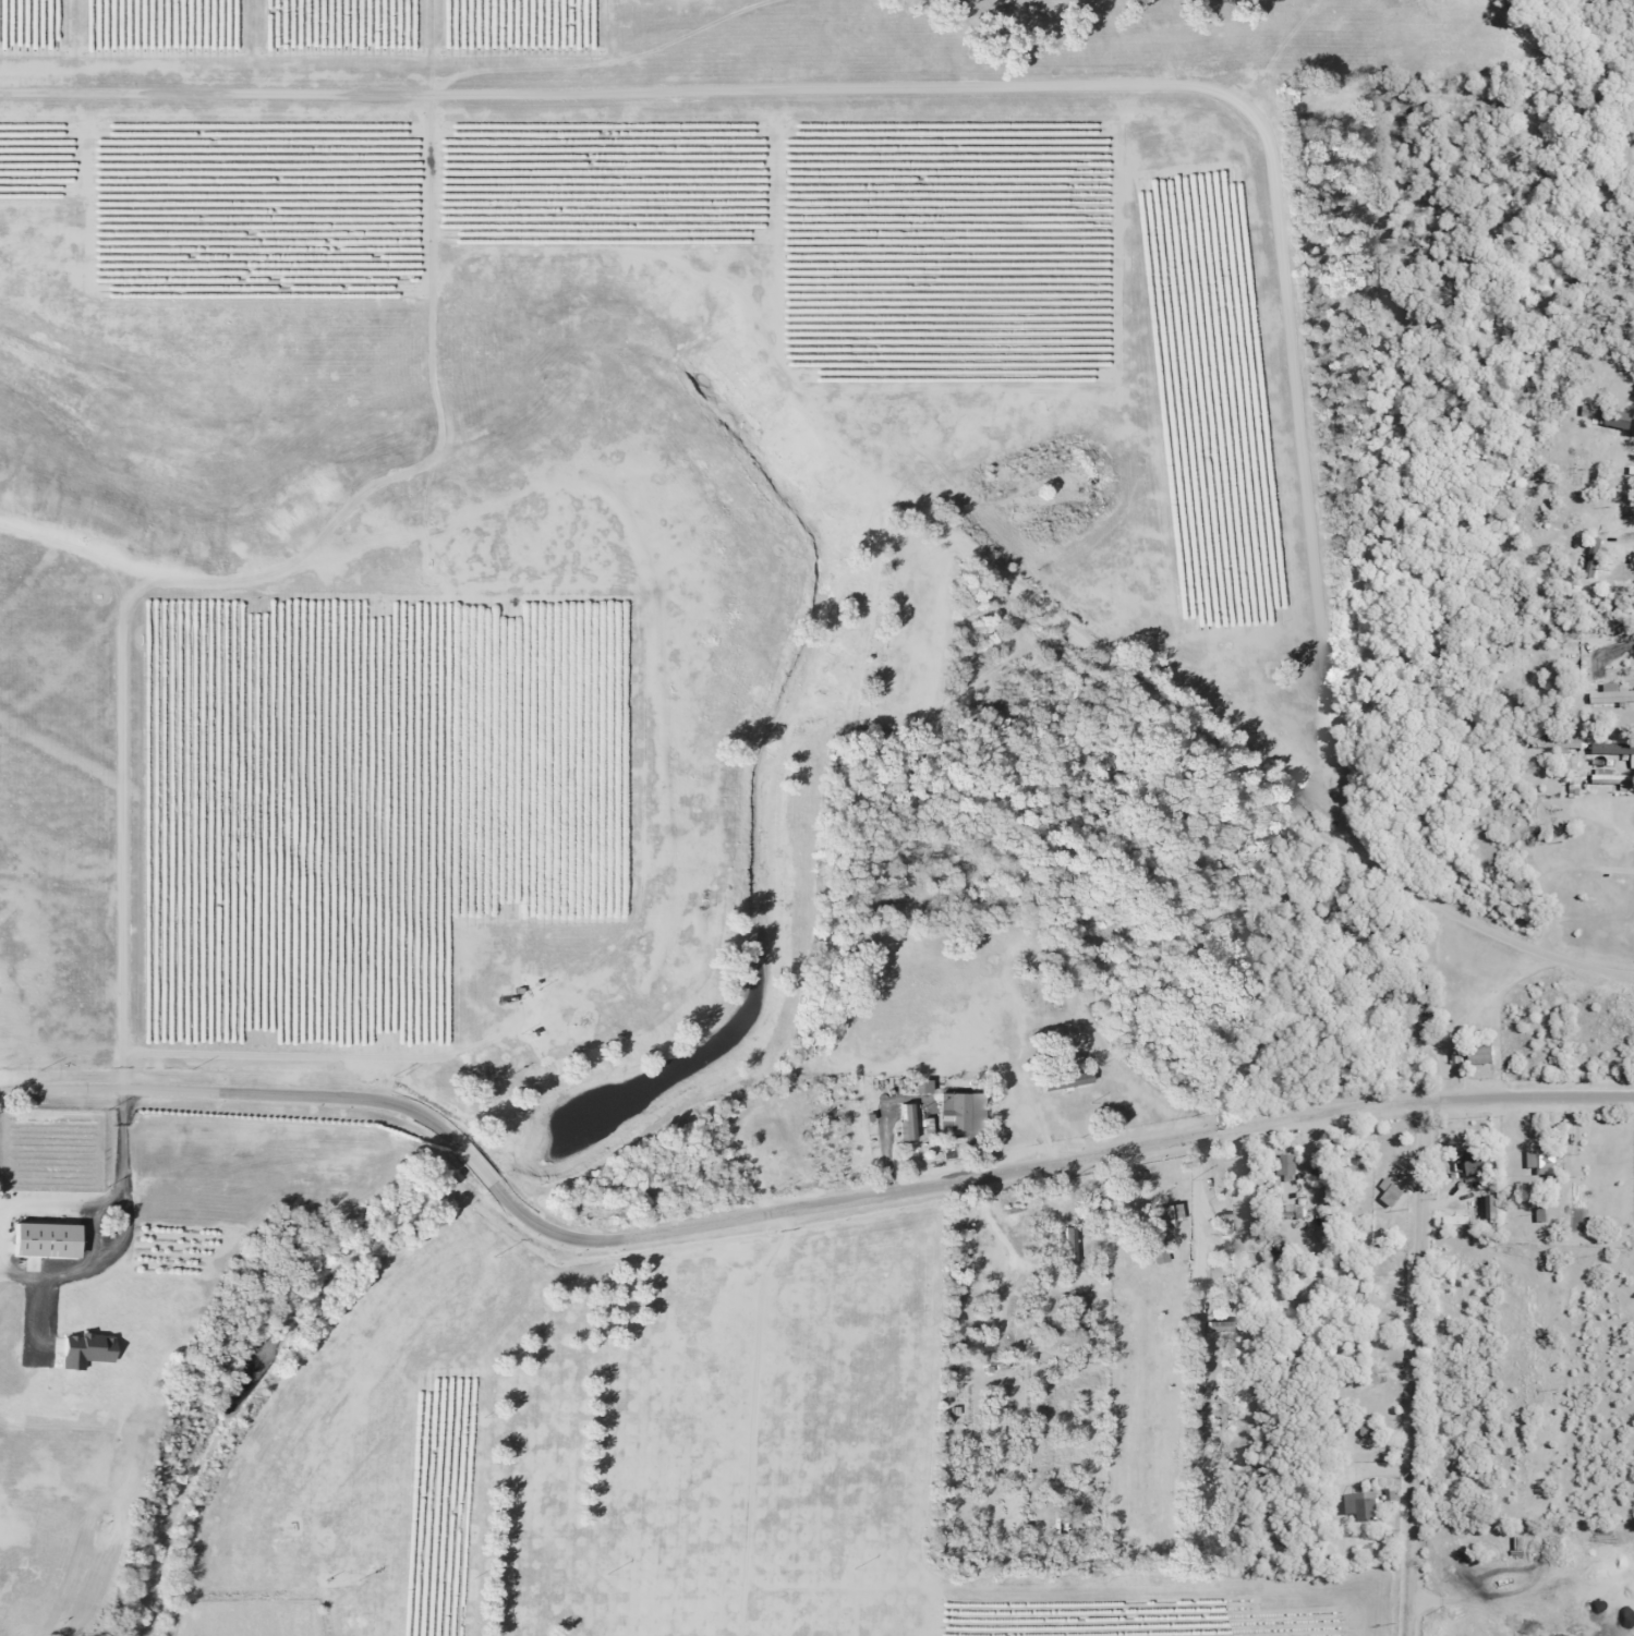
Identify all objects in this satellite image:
road: (1157, 86)
park: (910, 633)
building: (1623, 695)
building: (1610, 781)
building: (1479, 1051)
road: (237, 1091)
road: (1184, 1138)
building: (1286, 1163)
road: (477, 1165)
building: (1167, 1215)
building: (40, 1239)
road: (607, 1240)
building: (1068, 1250)
building: (83, 1349)
road: (1415, 1367)
building: (1359, 1504)

